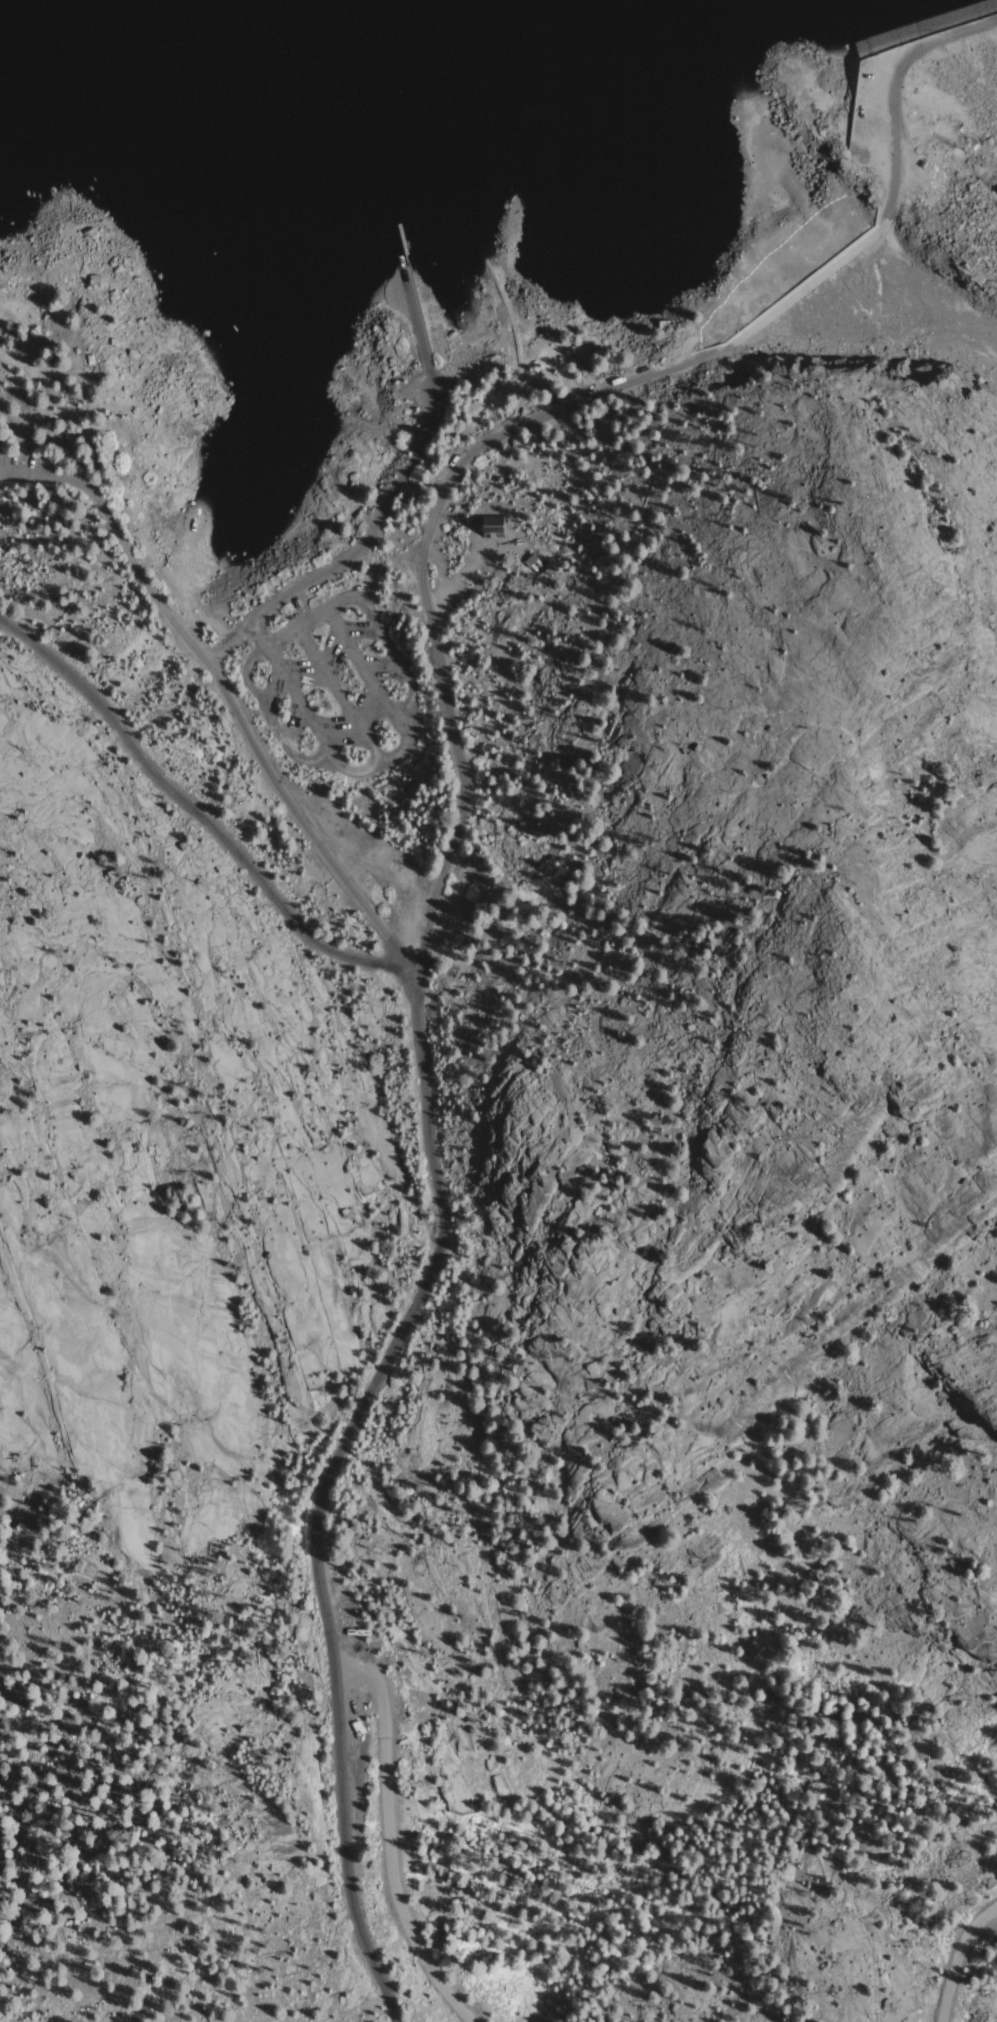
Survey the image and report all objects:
dam: (960, 68)
dam: (852, 88)
road: (891, 98)
road: (877, 112)
parking lot: (870, 114)
parking lot: (907, 169)
road: (426, 347)
road: (433, 399)
parking lot: (25, 464)
road: (448, 492)
road: (120, 546)
road: (220, 648)
road: (364, 671)
parking lot: (335, 685)
road: (335, 694)
road: (294, 706)
road: (398, 749)
road: (189, 808)
road: (327, 1479)
road: (385, 1842)
road: (961, 1961)

